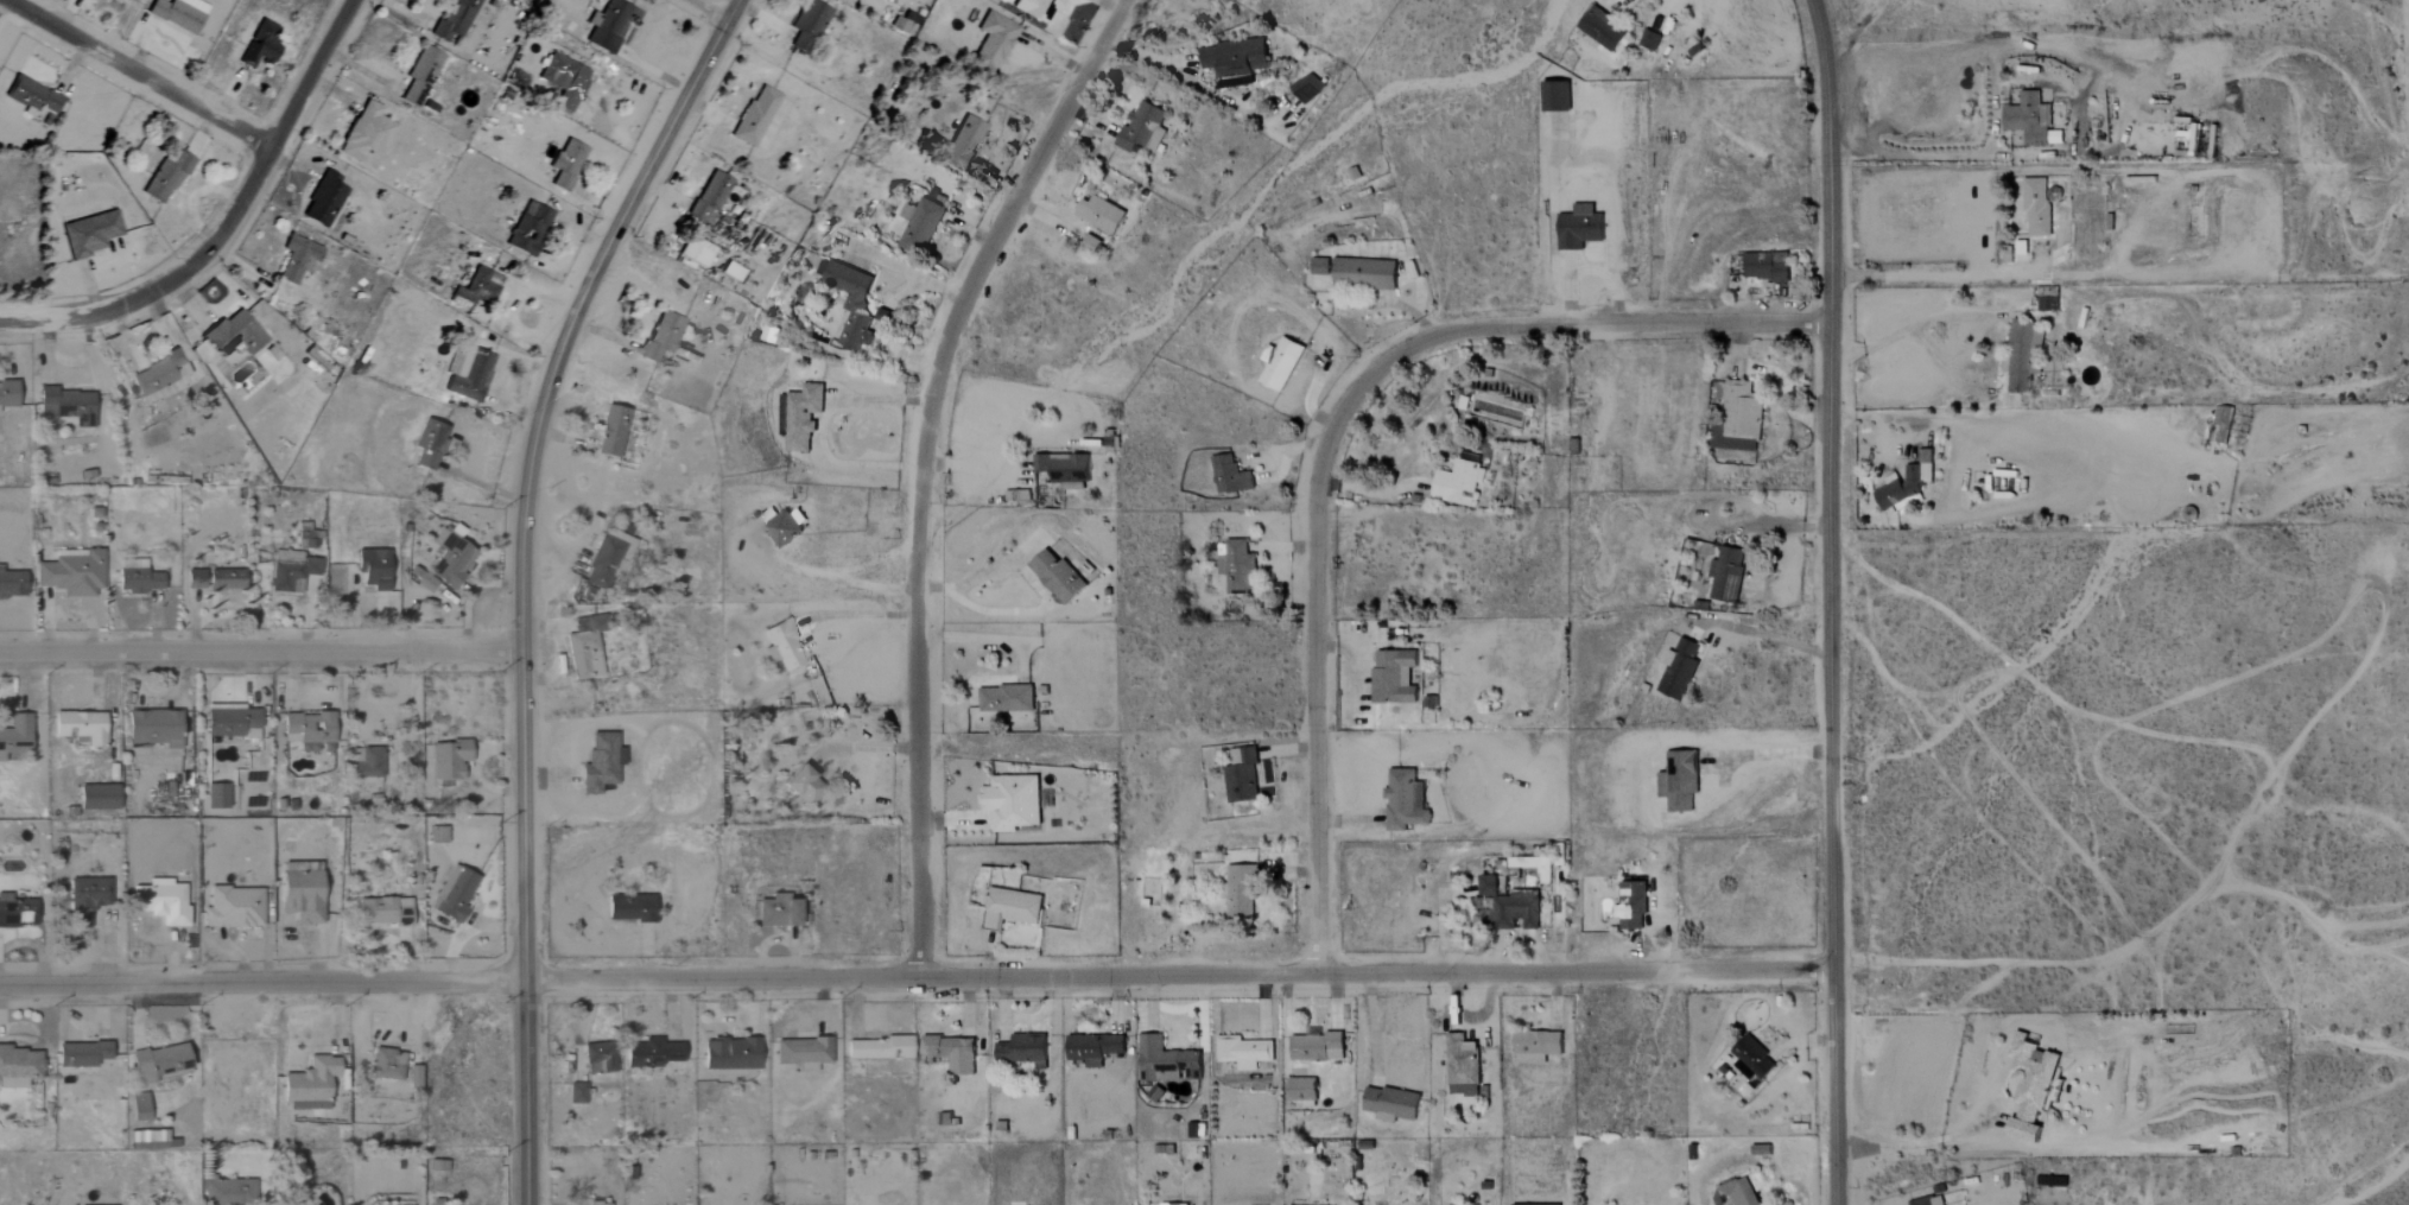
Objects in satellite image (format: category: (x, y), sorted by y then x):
road: (711, 9)
building: (1036, 9)
building: (178, 13)
building: (455, 19)
road: (1844, 21)
building: (608, 25)
building: (809, 25)
building: (898, 25)
building: (1602, 28)
building: (1648, 40)
building: (994, 42)
building: (260, 45)
building: (1235, 58)
building: (557, 71)
road: (138, 75)
building: (420, 76)
building: (1306, 88)
building: (1558, 97)
building: (33, 100)
building: (755, 116)
building: (2031, 121)
building: (1143, 127)
building: (366, 137)
building: (964, 142)
road: (1907, 154)
building: (566, 164)
building: (165, 179)
building: (710, 197)
building: (323, 201)
building: (2037, 209)
building: (1101, 215)
road: (223, 223)
building: (919, 227)
building: (1579, 228)
building: (528, 229)
building: (90, 234)
building: (696, 252)
building: (297, 260)
building: (1321, 267)
building: (1767, 267)
road: (901, 269)
building: (1364, 273)
road: (1922, 274)
building: (476, 288)
building: (2048, 299)
building: (851, 304)
road: (1978, 319)
road: (885, 332)
building: (234, 335)
building: (661, 336)
building: (2024, 356)
building: (1282, 364)
building: (158, 374)
building: (468, 375)
building: (7, 394)
building: (68, 406)
building: (803, 417)
building: (1744, 418)
road: (1920, 423)
building: (2223, 423)
road: (819, 429)
building: (611, 432)
road: (1332, 435)
building: (429, 444)
road: (924, 467)
building: (1064, 470)
building: (1230, 476)
building: (1458, 483)
building: (1907, 484)
road: (1373, 491)
building: (786, 526)
building: (450, 558)
building: (606, 559)
building: (1240, 566)
building: (372, 569)
building: (71, 572)
building: (1730, 573)
building: (1057, 576)
building: (137, 577)
building: (224, 577)
building: (194, 578)
road: (521, 578)
road: (829, 578)
building: (423, 579)
road: (1033, 582)
building: (12, 583)
road: (1831, 602)
road: (1692, 610)
building: (782, 645)
building: (585, 647)
road: (260, 653)
building: (1681, 668)
building: (1394, 677)
building: (1004, 698)
building: (232, 721)
building: (80, 727)
building: (154, 727)
building: (306, 729)
building: (15, 736)
road: (1773, 755)
building: (450, 759)
building: (600, 762)
building: (368, 763)
building: (1243, 779)
building: (1680, 780)
building: (803, 784)
building: (216, 795)
building: (97, 797)
building: (1405, 801)
building: (1012, 803)
building: (1241, 889)
building: (88, 894)
building: (454, 894)
building: (302, 896)
building: (1510, 906)
building: (1631, 906)
building: (233, 907)
building: (629, 908)
building: (1012, 908)
building: (383, 911)
building: (776, 911)
building: (15, 912)
road: (917, 979)
building: (1536, 1046)
building: (1317, 1047)
building: (880, 1048)
building: (1093, 1048)
building: (1023, 1051)
building: (1242, 1052)
building: (653, 1053)
building: (951, 1053)
building: (81, 1054)
building: (731, 1054)
building: (598, 1058)
building: (1165, 1060)
building: (1752, 1060)
building: (158, 1063)
building: (387, 1064)
building: (19, 1066)
building: (1462, 1066)
building: (413, 1077)
building: (310, 1085)
building: (2030, 1085)
building: (1302, 1091)
building: (576, 1093)
building: (1391, 1104)
building: (139, 1108)
building: (147, 1140)
road: (1927, 1142)
building: (228, 1192)
building: (1737, 1193)
building: (1931, 1199)
building: (1169, 1204)
building: (1541, 1204)

